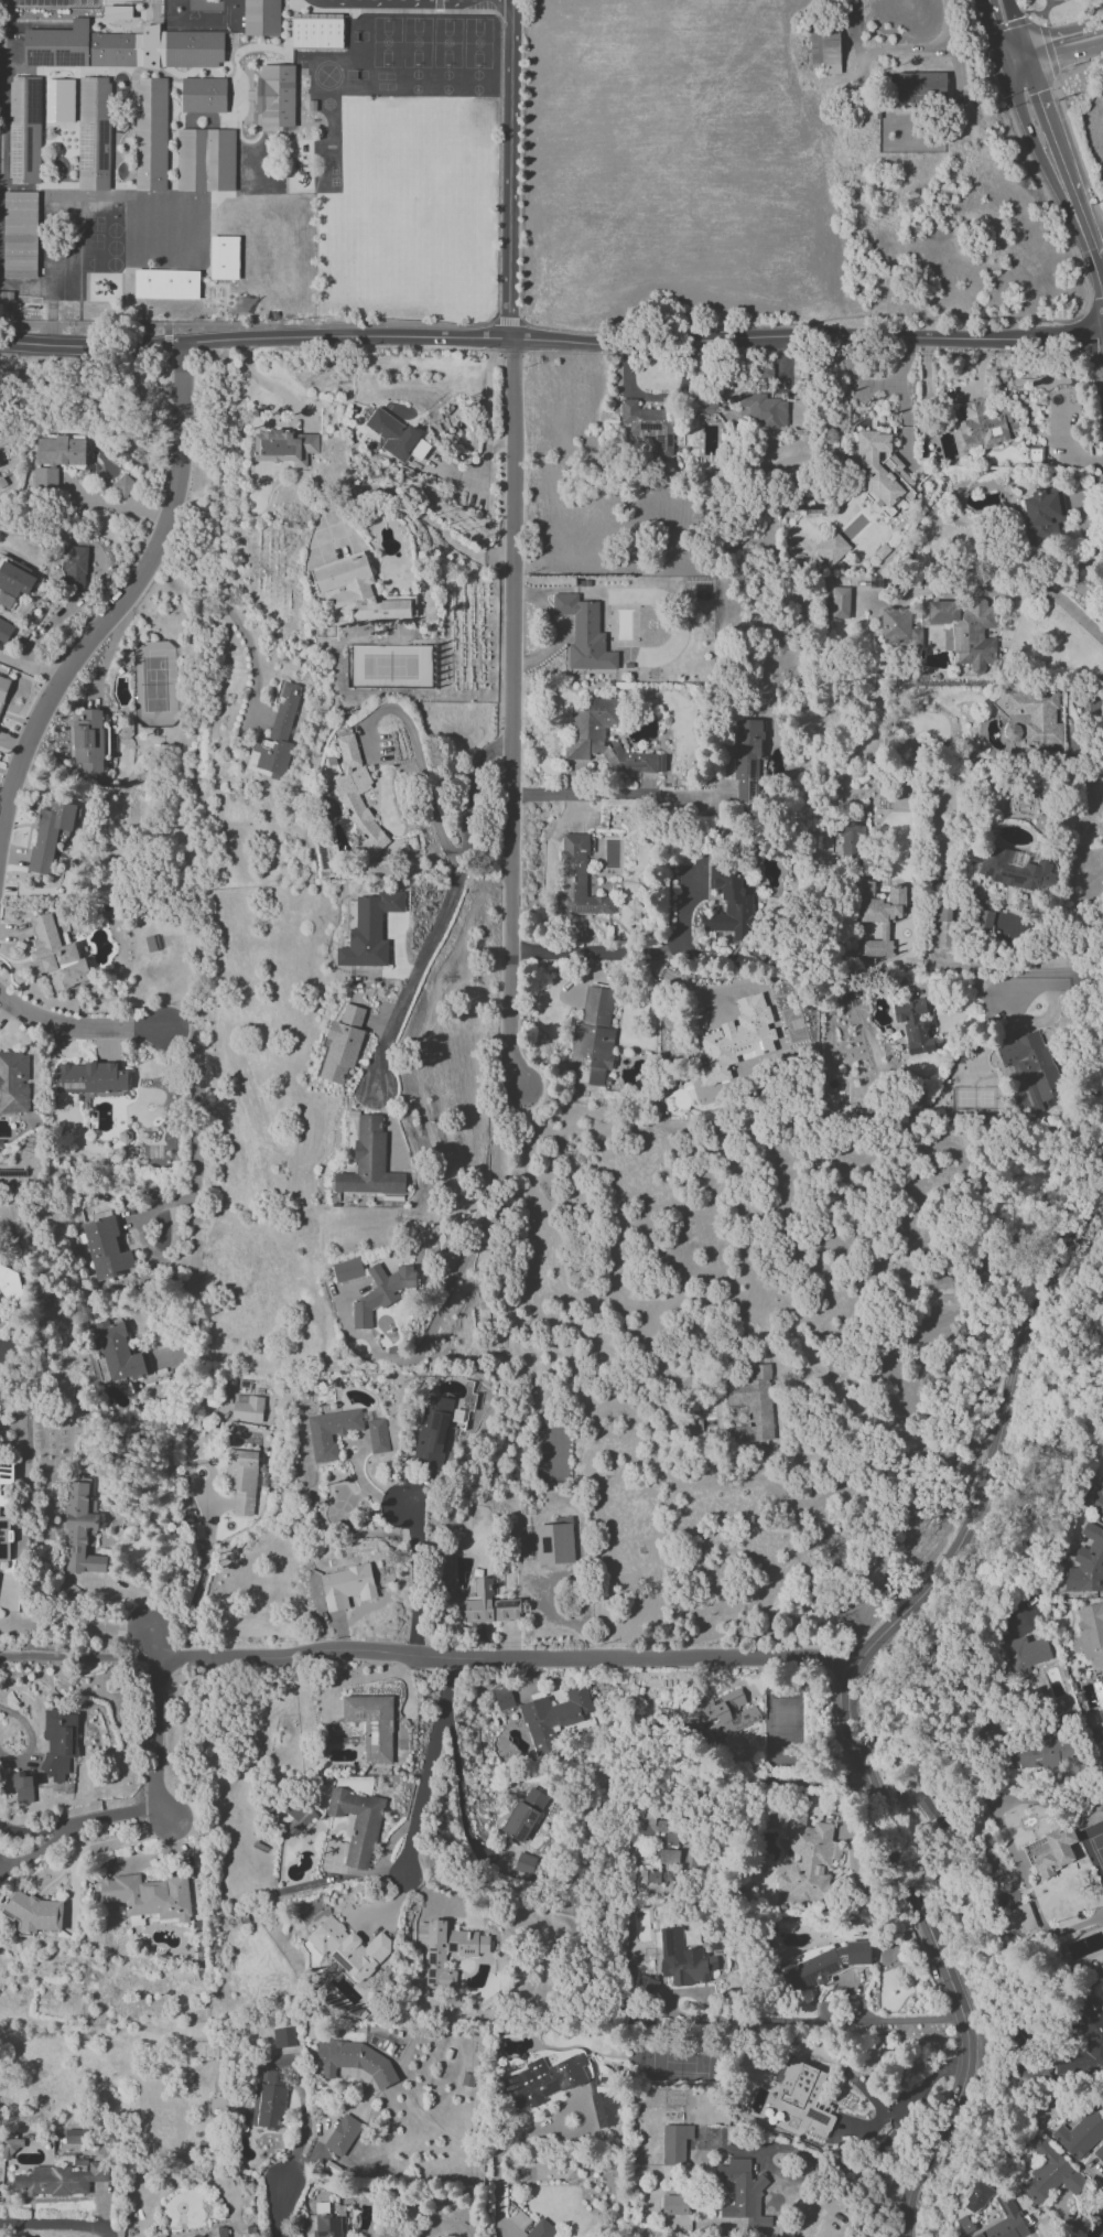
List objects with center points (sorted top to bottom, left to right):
road: (394, 0)
road: (510, 0)
road: (513, 0)
road: (1049, 2)
road: (437, 4)
road: (1045, 8)
track: (173, 9)
park: (1064, 9)
building: (118, 12)
road: (977, 15)
road: (1034, 17)
building: (262, 18)
road: (1005, 24)
road: (1008, 28)
building: (316, 31)
park: (356, 35)
road: (1096, 35)
park: (386, 41)
park: (417, 42)
park: (447, 42)
park: (478, 43)
road: (1055, 46)
building: (122, 47)
road: (919, 47)
building: (825, 50)
road: (1048, 50)
traffic signals: (1019, 56)
road: (500, 66)
park: (355, 74)
park: (417, 74)
park: (446, 74)
park: (477, 74)
building: (920, 86)
park: (415, 88)
park: (446, 89)
park: (477, 89)
building: (203, 95)
building: (277, 95)
building: (58, 99)
road: (1043, 125)
road: (1069, 126)
building: (24, 129)
building: (94, 132)
building: (150, 133)
building: (205, 159)
road: (509, 169)
road: (1037, 173)
park: (165, 212)
park: (113, 229)
building: (20, 235)
road: (1089, 236)
park: (113, 247)
building: (224, 257)
park: (80, 262)
park: (113, 264)
park: (54, 276)
building: (166, 283)
road: (507, 320)
road: (801, 320)
road: (258, 323)
road: (551, 340)
road: (166, 343)
road: (873, 381)
road: (269, 385)
building: (765, 410)
building: (983, 424)
building: (650, 426)
building: (392, 433)
road: (487, 433)
building: (285, 447)
building: (56, 458)
building: (882, 472)
building: (123, 484)
road: (118, 507)
road: (418, 508)
building: (1043, 513)
building: (832, 547)
building: (74, 568)
building: (15, 578)
road: (1010, 590)
building: (358, 591)
building: (840, 602)
road: (118, 607)
road: (234, 617)
building: (899, 627)
building: (4, 630)
building: (969, 630)
building: (584, 633)
road: (33, 669)
building: (3, 688)
building: (1038, 714)
road: (511, 716)
building: (586, 733)
building: (88, 739)
road: (420, 753)
building: (747, 760)
road: (607, 793)
building: (357, 794)
building: (50, 834)
building: (852, 839)
building: (1013, 868)
building: (577, 878)
building: (732, 907)
road: (445, 913)
building: (879, 915)
building: (984, 919)
building: (943, 925)
building: (370, 931)
road: (630, 951)
building: (56, 955)
road: (1009, 970)
road: (2, 1007)
building: (915, 1024)
road: (79, 1029)
building: (594, 1035)
building: (736, 1039)
building: (343, 1044)
building: (1034, 1067)
building: (91, 1077)
building: (13, 1082)
building: (370, 1162)
road: (195, 1184)
building: (105, 1248)
building: (348, 1269)
road: (463, 1269)
building: (9, 1283)
building: (381, 1292)
road: (902, 1300)
building: (751, 1405)
building: (248, 1409)
building: (332, 1431)
building: (432, 1431)
building: (378, 1435)
road: (201, 1461)
building: (6, 1472)
building: (242, 1483)
building: (2, 1499)
building: (80, 1530)
building: (4, 1538)
building: (555, 1544)
building: (1088, 1562)
road: (203, 1572)
road: (418, 1575)
building: (347, 1585)
road: (120, 1589)
building: (488, 1604)
road: (75, 1628)
building: (1092, 1632)
road: (153, 1644)
building: (1025, 1653)
road: (68, 1656)
road: (507, 1658)
building: (504, 1698)
road: (854, 1707)
building: (553, 1717)
building: (722, 1718)
building: (372, 1724)
road: (32, 1738)
road: (158, 1741)
building: (60, 1742)
building: (1040, 1753)
road: (429, 1766)
building: (23, 1787)
road: (459, 1790)
building: (930, 1810)
road: (842, 1811)
building: (525, 1814)
building: (1088, 1815)
building: (299, 1818)
road: (80, 1824)
building: (358, 1824)
building: (660, 1828)
building: (1053, 1850)
building: (669, 1856)
building: (808, 1858)
building: (525, 1863)
building: (647, 1875)
building: (150, 1895)
building: (1014, 1912)
building: (35, 1913)
building: (349, 1947)
building: (446, 1949)
building: (683, 1959)
building: (822, 1964)
building: (647, 1986)
road: (822, 2020)
building: (283, 2036)
building: (357, 2059)
road: (1032, 2075)
building: (543, 2080)
building: (805, 2097)
building: (270, 2098)
road: (913, 2098)
building: (604, 2108)
road: (585, 2115)
road: (305, 2123)
building: (343, 2134)
building: (1080, 2134)
building: (75, 2136)
building: (675, 2143)
building: (11, 2147)
building: (1099, 2152)
road: (499, 2160)
building: (1050, 2172)
building: (61, 2179)
building: (743, 2193)
building: (977, 2197)
building: (674, 2204)
road: (281, 2212)
building: (1005, 2220)
building: (328, 2225)
building: (964, 2225)
road: (56, 2227)
building: (542, 2229)
road: (1099, 2230)
building: (218, 2231)

